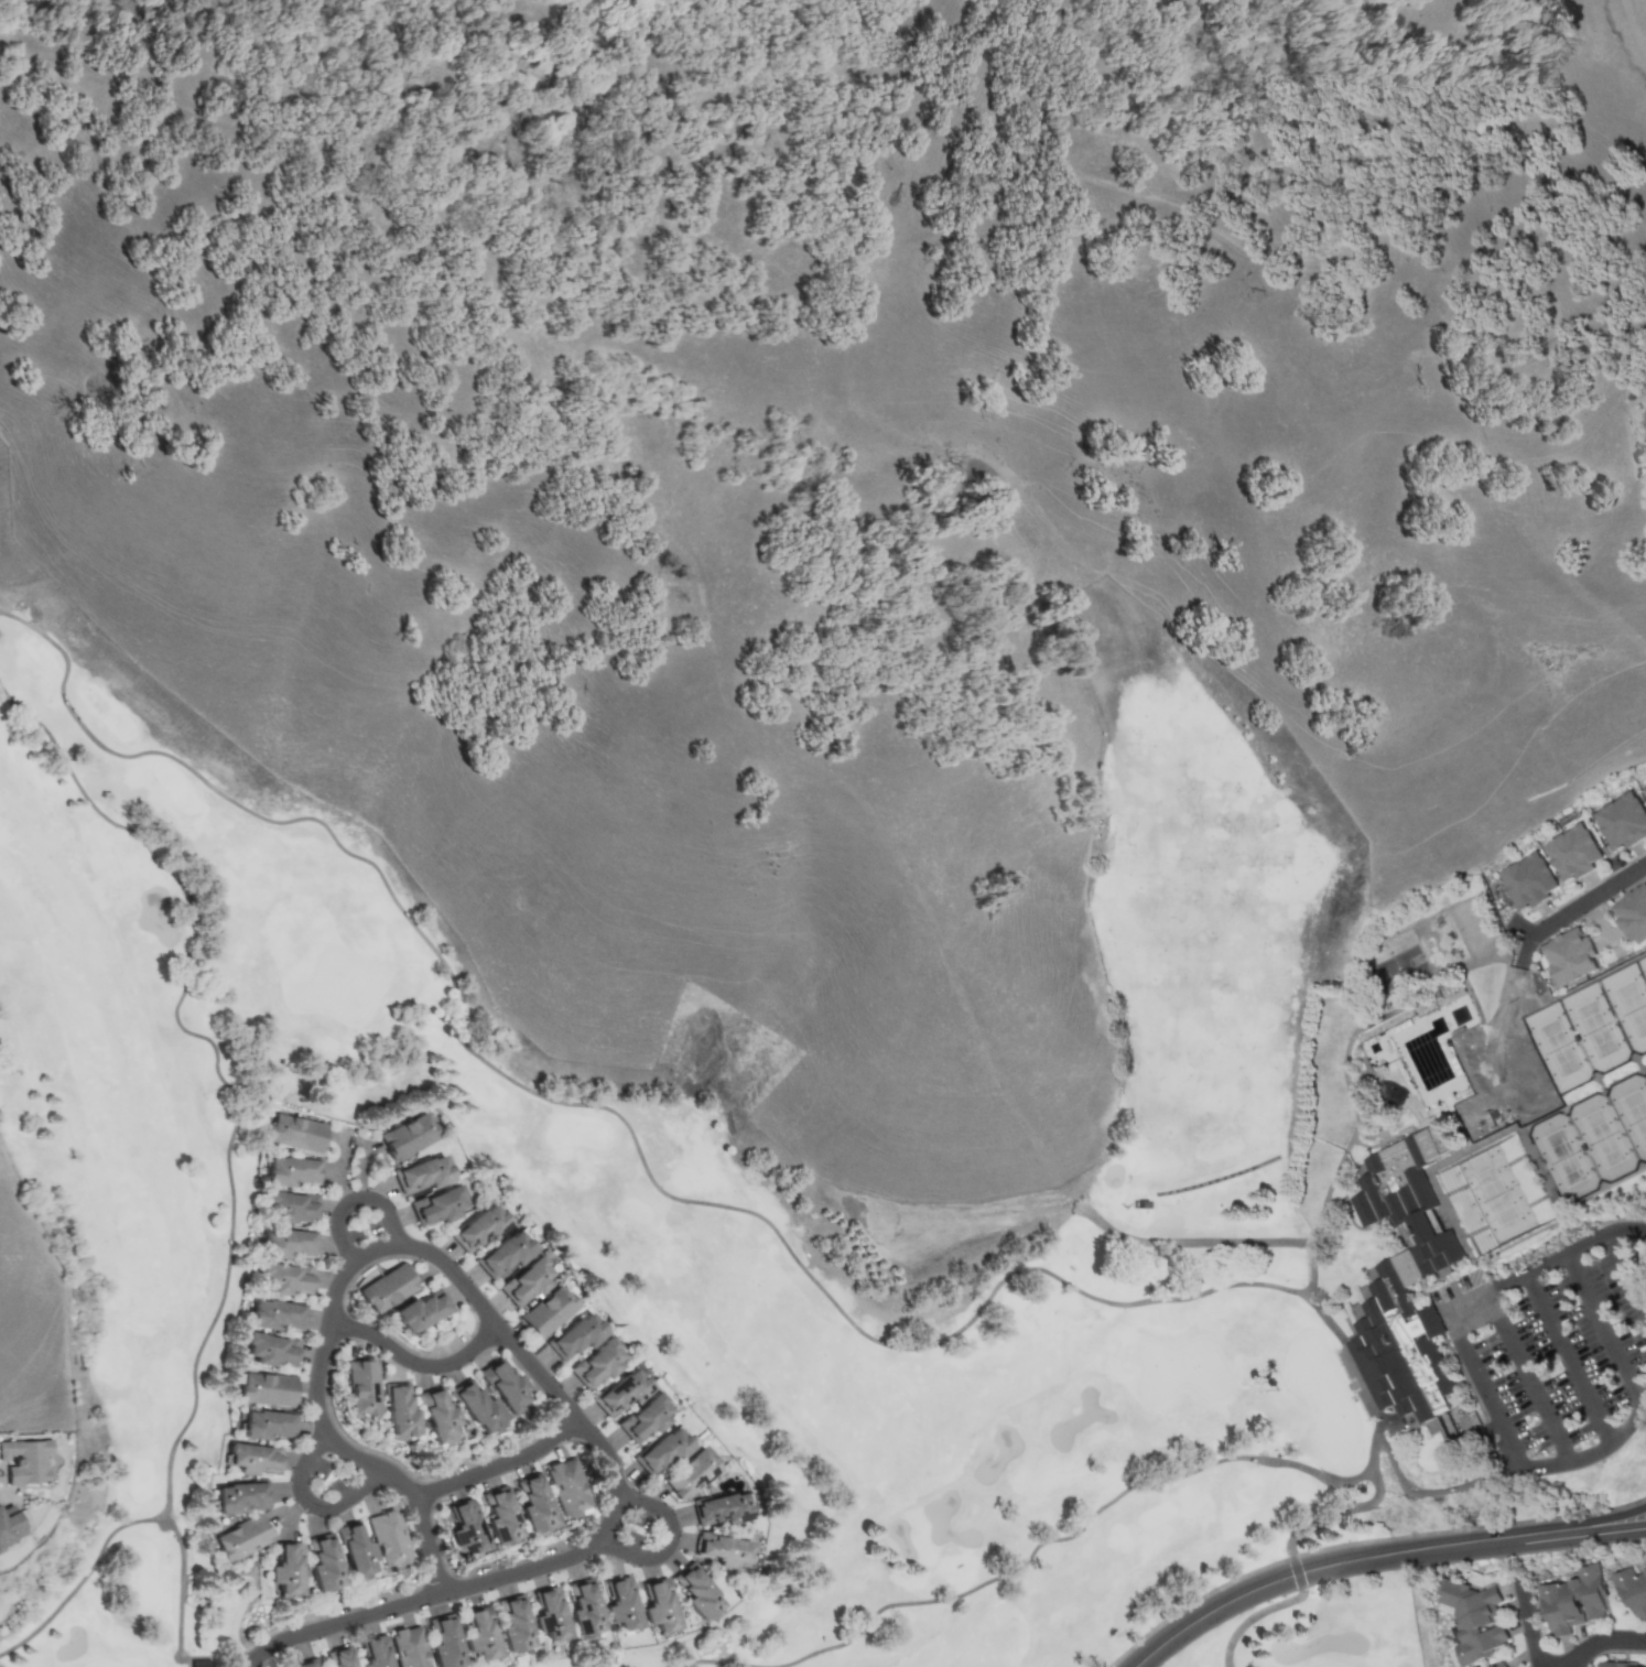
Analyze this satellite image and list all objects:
building: (1644, 790)
building: (1621, 821)
building: (1571, 853)
building: (1525, 881)
road: (1584, 900)
building: (1633, 914)
building: (1570, 956)
park: (1591, 1025)
road: (217, 1056)
building: (296, 1132)
building: (409, 1136)
park: (1373, 1136)
park: (1593, 1137)
building: (290, 1170)
building: (422, 1175)
park: (1494, 1194)
road: (353, 1198)
building: (437, 1204)
building: (290, 1205)
building: (479, 1227)
road: (1213, 1240)
building: (285, 1242)
road: (373, 1247)
building: (505, 1253)
road: (1546, 1263)
road: (1626, 1274)
building: (283, 1277)
building: (1405, 1280)
building: (526, 1281)
building: (387, 1288)
building: (420, 1311)
building: (548, 1311)
building: (274, 1313)
road: (963, 1325)
road: (1604, 1330)
building: (576, 1335)
building: (271, 1349)
parking lot: (1561, 1357)
road: (1568, 1357)
road: (415, 1362)
building: (597, 1363)
road: (1527, 1377)
building: (502, 1384)
building: (360, 1386)
building: (266, 1388)
road: (1485, 1388)
building: (621, 1392)
building: (475, 1405)
park: (454, 1409)
building: (398, 1410)
building: (435, 1415)
building: (643, 1417)
building: (266, 1424)
road: (336, 1442)
building: (661, 1451)
road: (1593, 1451)
building: (252, 1458)
building: (25, 1460)
road: (499, 1464)
building: (691, 1473)
building: (565, 1486)
road: (1436, 1490)
building: (240, 1495)
road: (310, 1502)
building: (533, 1503)
building: (721, 1508)
road: (1336, 1511)
road: (1621, 1513)
road: (159, 1516)
building: (500, 1518)
building: (10, 1528)
building: (466, 1528)
road: (1622, 1529)
road: (602, 1533)
road: (1557, 1535)
building: (240, 1537)
building: (387, 1538)
road: (670, 1540)
building: (722, 1549)
building: (354, 1550)
building: (322, 1563)
road: (1311, 1568)
building: (284, 1569)
road: (1298, 1572)
park: (412, 1587)
park: (123, 1589)
building: (1632, 1590)
building: (695, 1592)
building: (1573, 1600)
building: (620, 1603)
building: (657, 1605)
building: (583, 1609)
building: (549, 1614)
road: (1250, 1616)
building: (1473, 1619)
building: (512, 1624)
road: (1528, 1632)
building: (479, 1634)
road: (1601, 1641)
building: (443, 1642)
building: (408, 1647)
building: (375, 1652)
building: (340, 1657)
building: (305, 1663)
building: (1499, 1665)
building: (1623, 1665)
road: (1544, 1666)
road: (1564, 1666)

